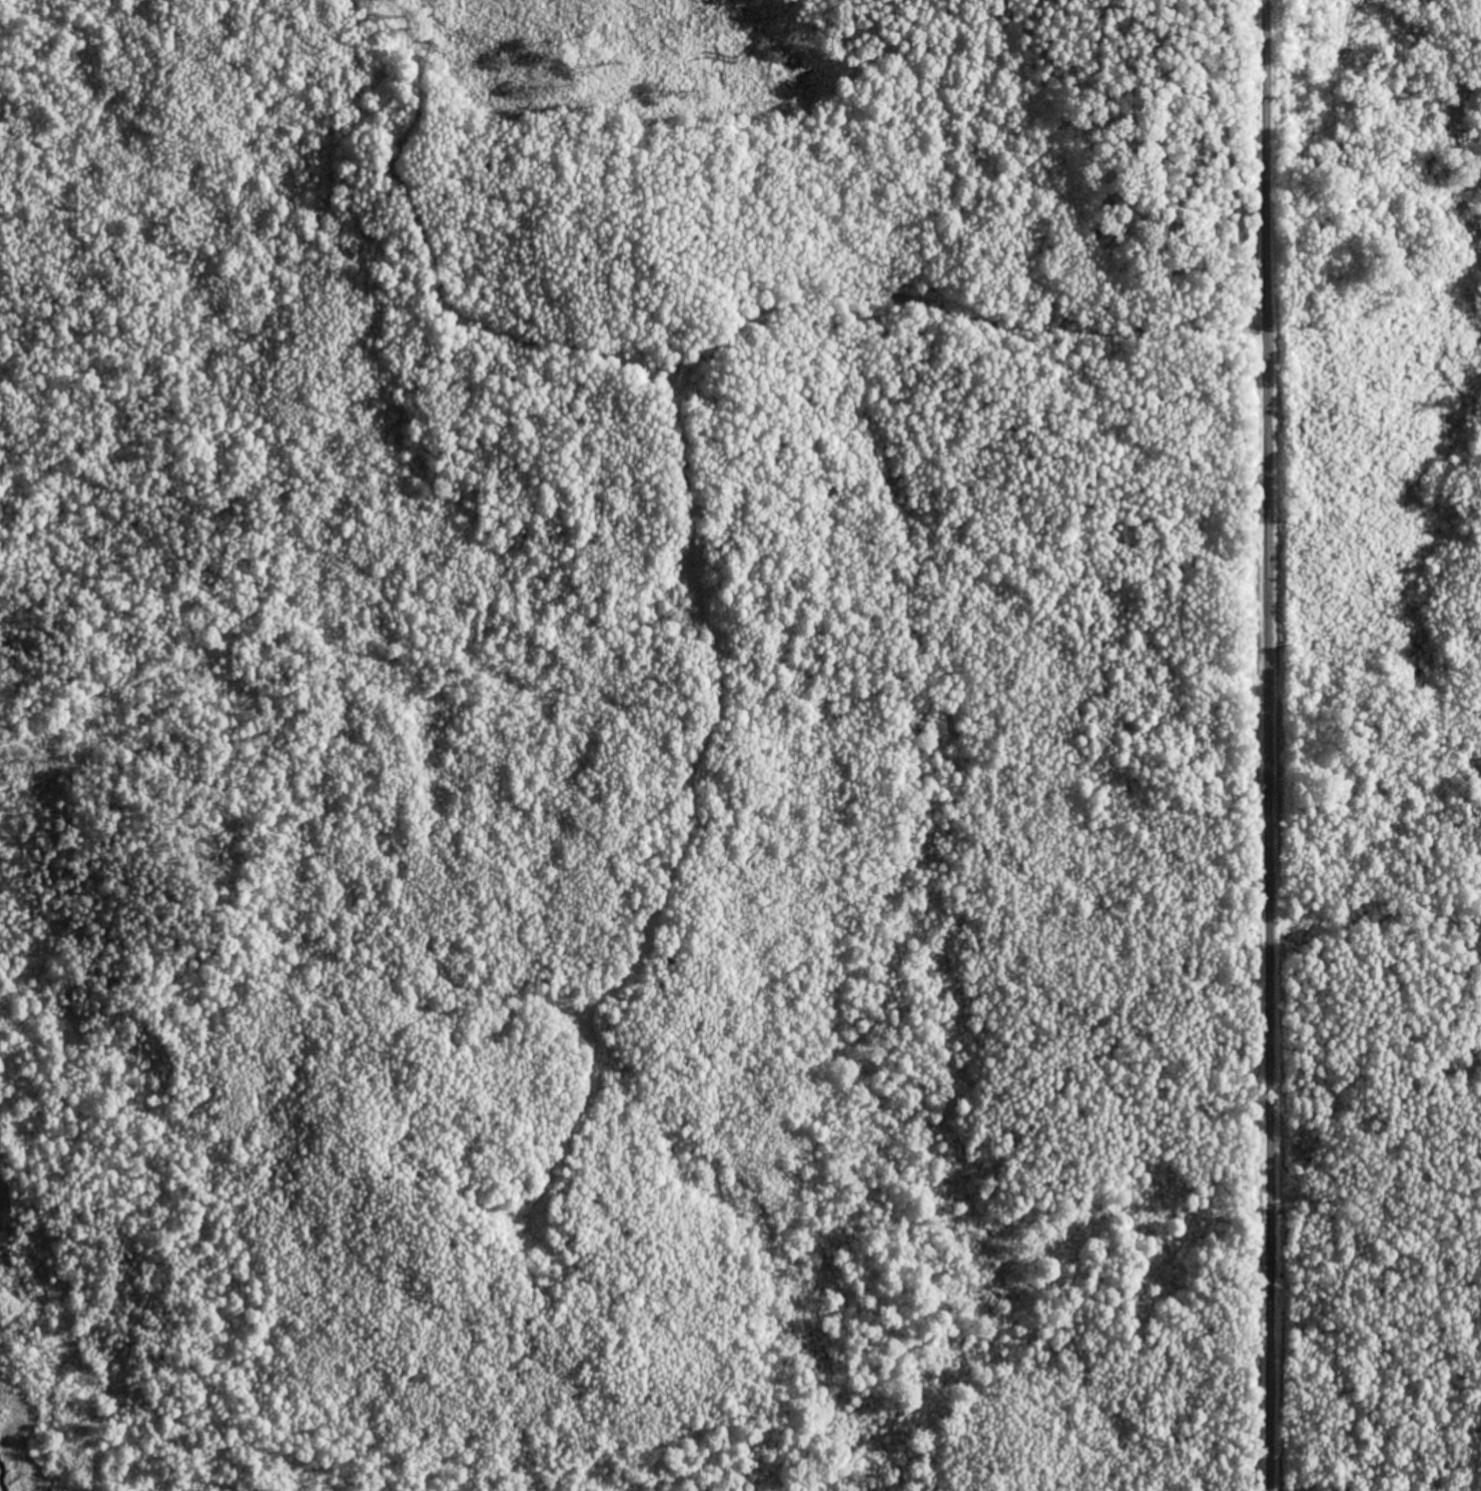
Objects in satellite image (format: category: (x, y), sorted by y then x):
road: (1264, 745)

